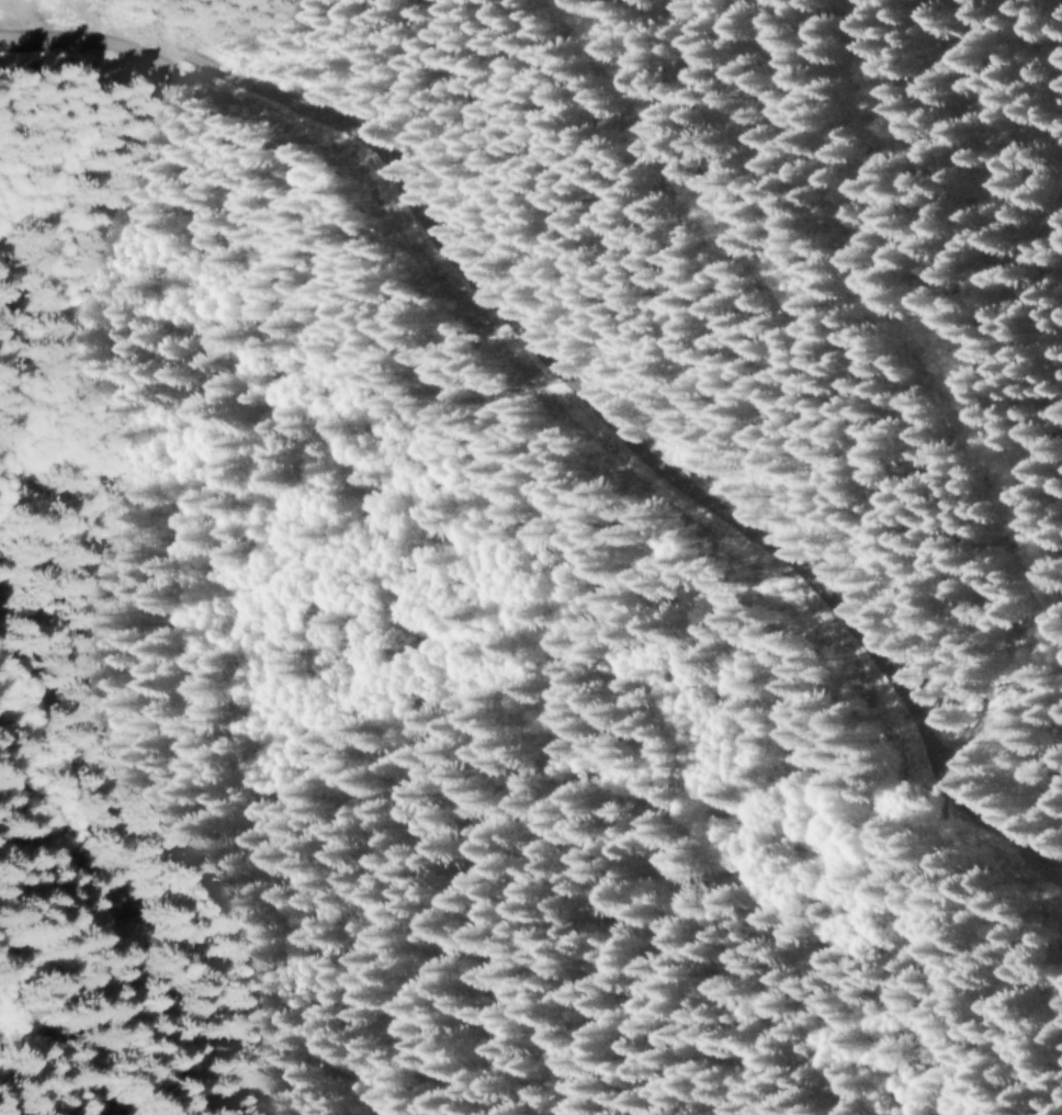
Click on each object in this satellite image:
road: (519, 626)

